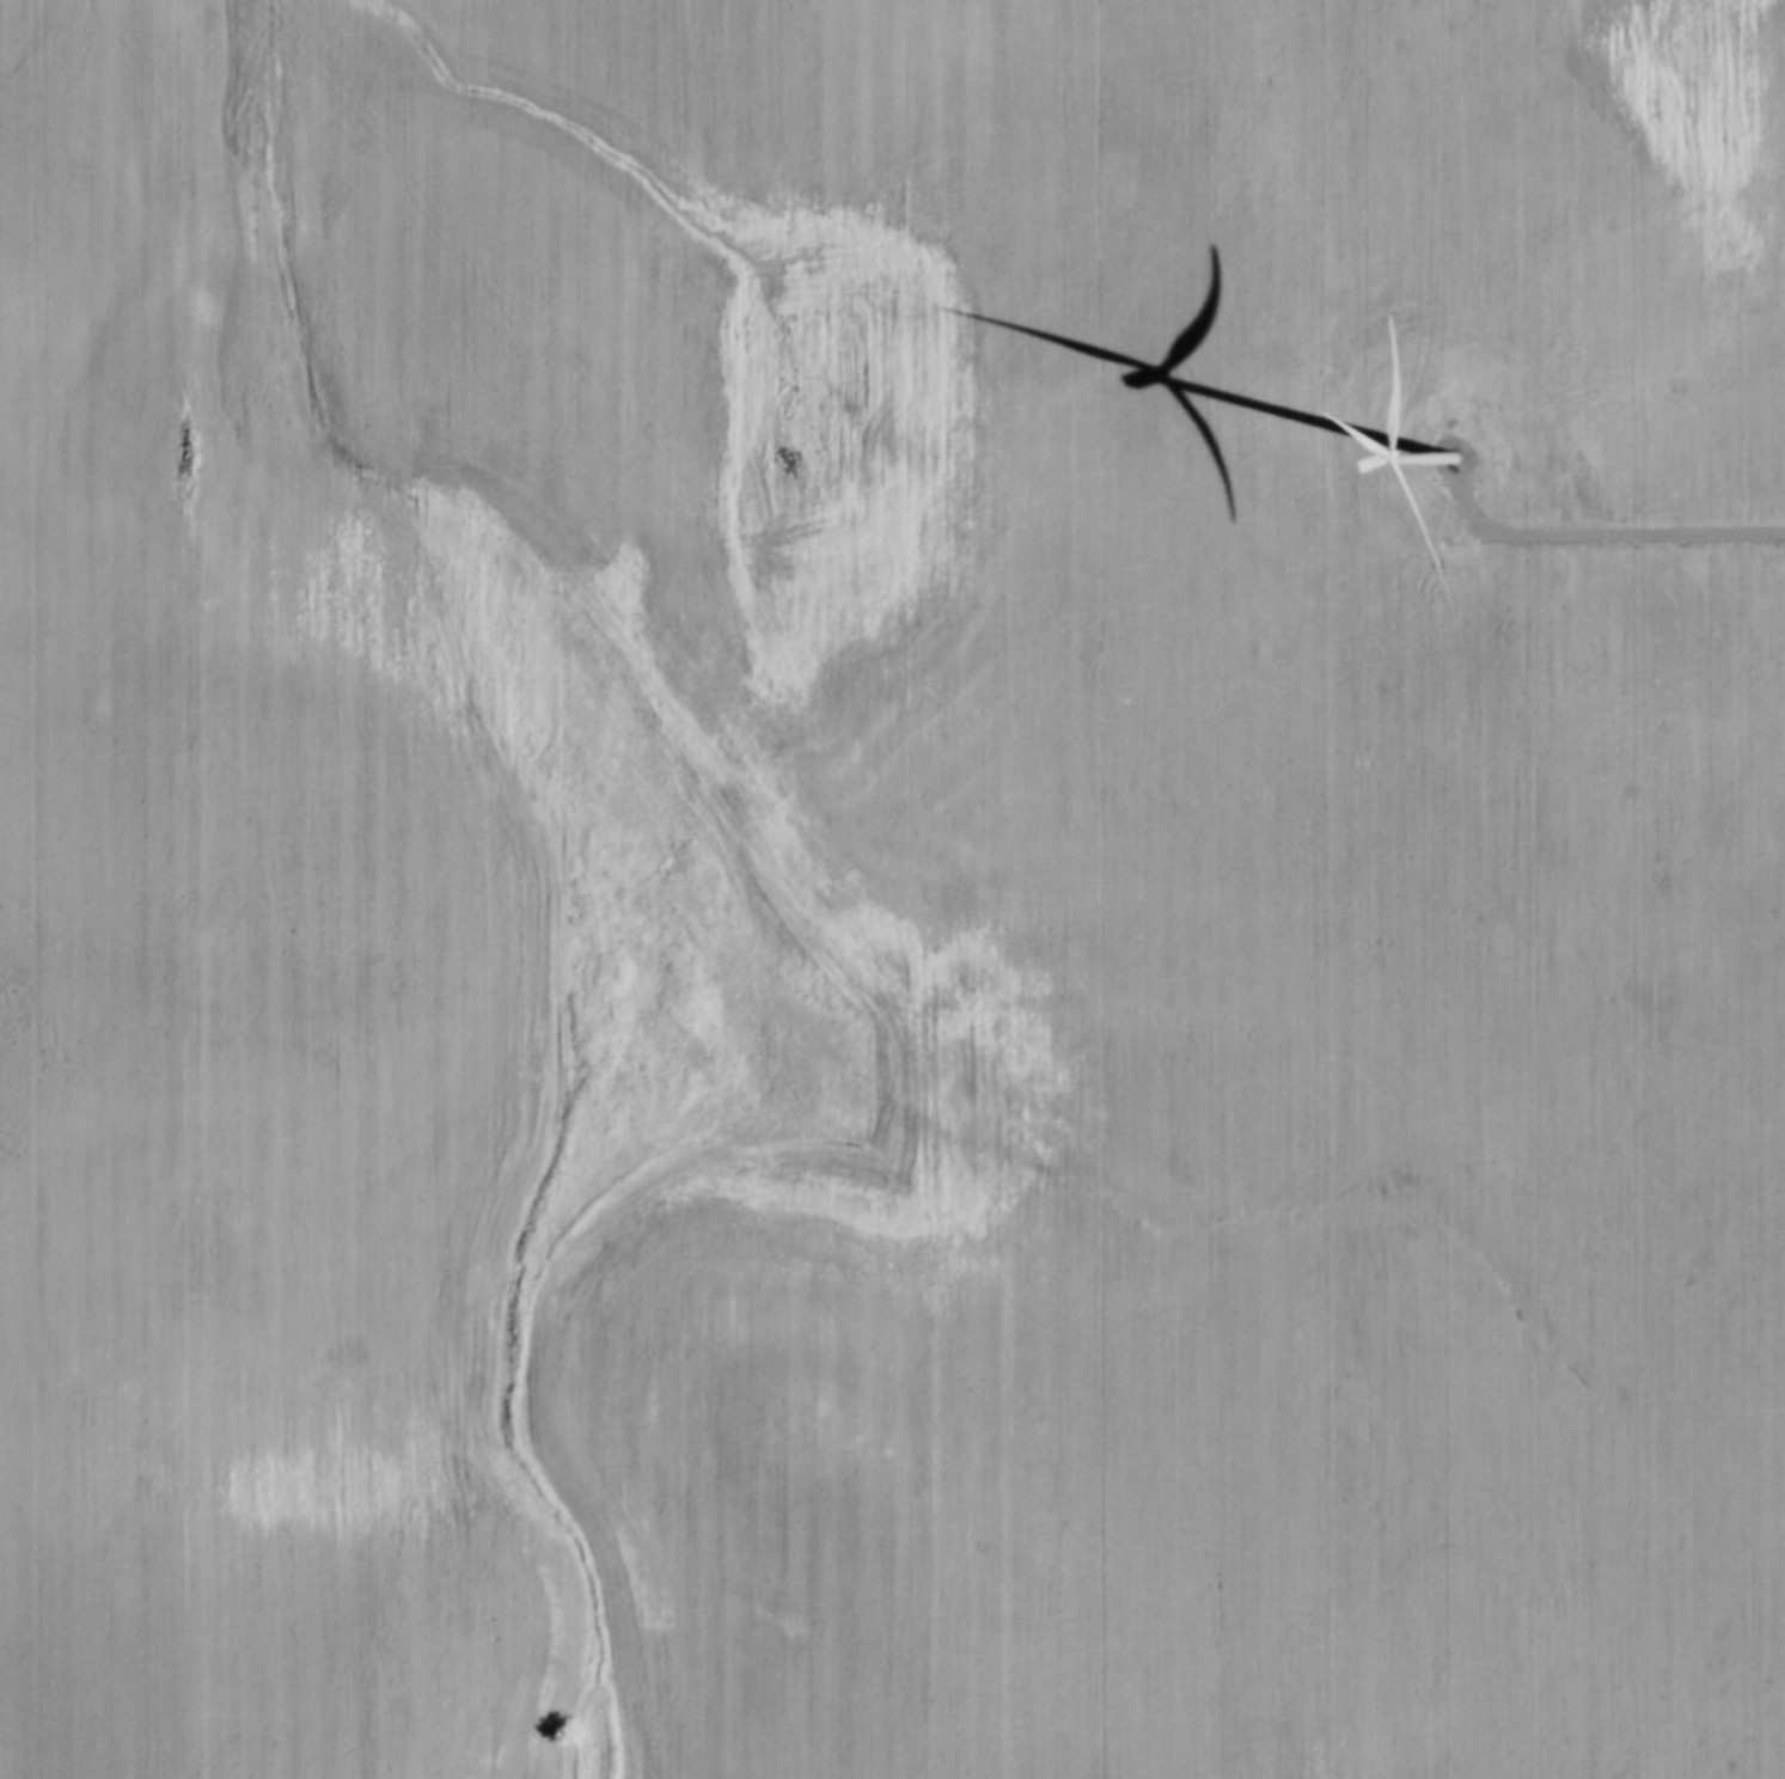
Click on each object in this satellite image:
wind turbine: (1450, 464)

